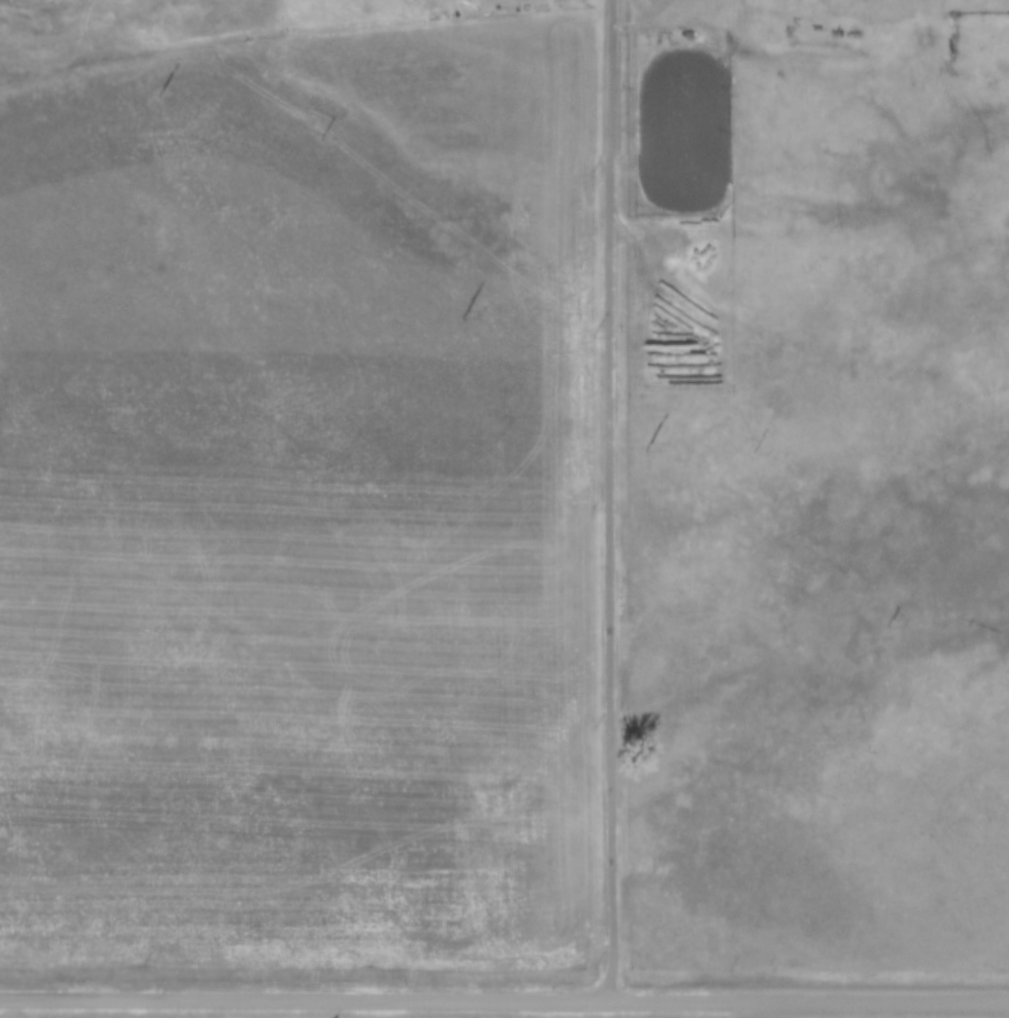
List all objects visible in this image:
road: (609, 498)
road: (504, 996)

